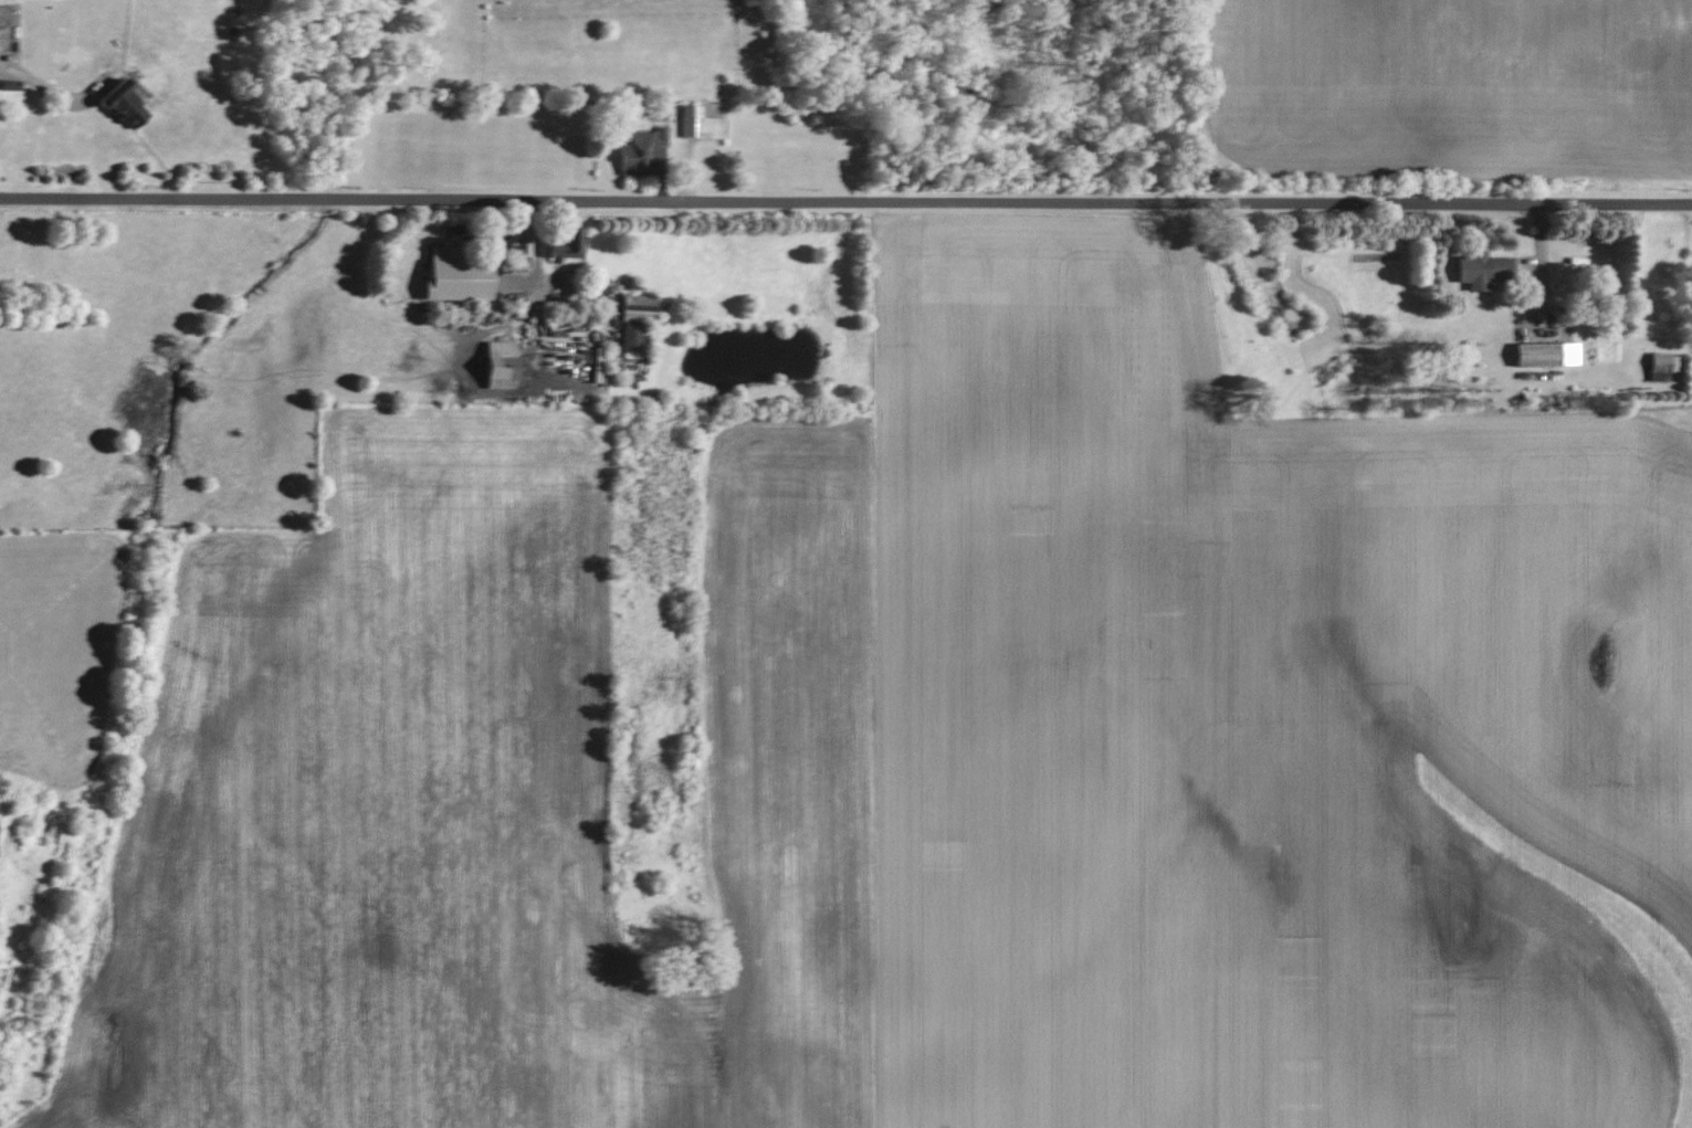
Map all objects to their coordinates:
building: (1, 29)
road: (49, 89)
building: (117, 104)
building: (697, 125)
building: (638, 152)
road: (845, 202)
building: (563, 246)
building: (523, 249)
building: (1478, 270)
building: (451, 281)
building: (632, 320)
building: (1543, 355)
building: (1660, 362)
building: (494, 366)

